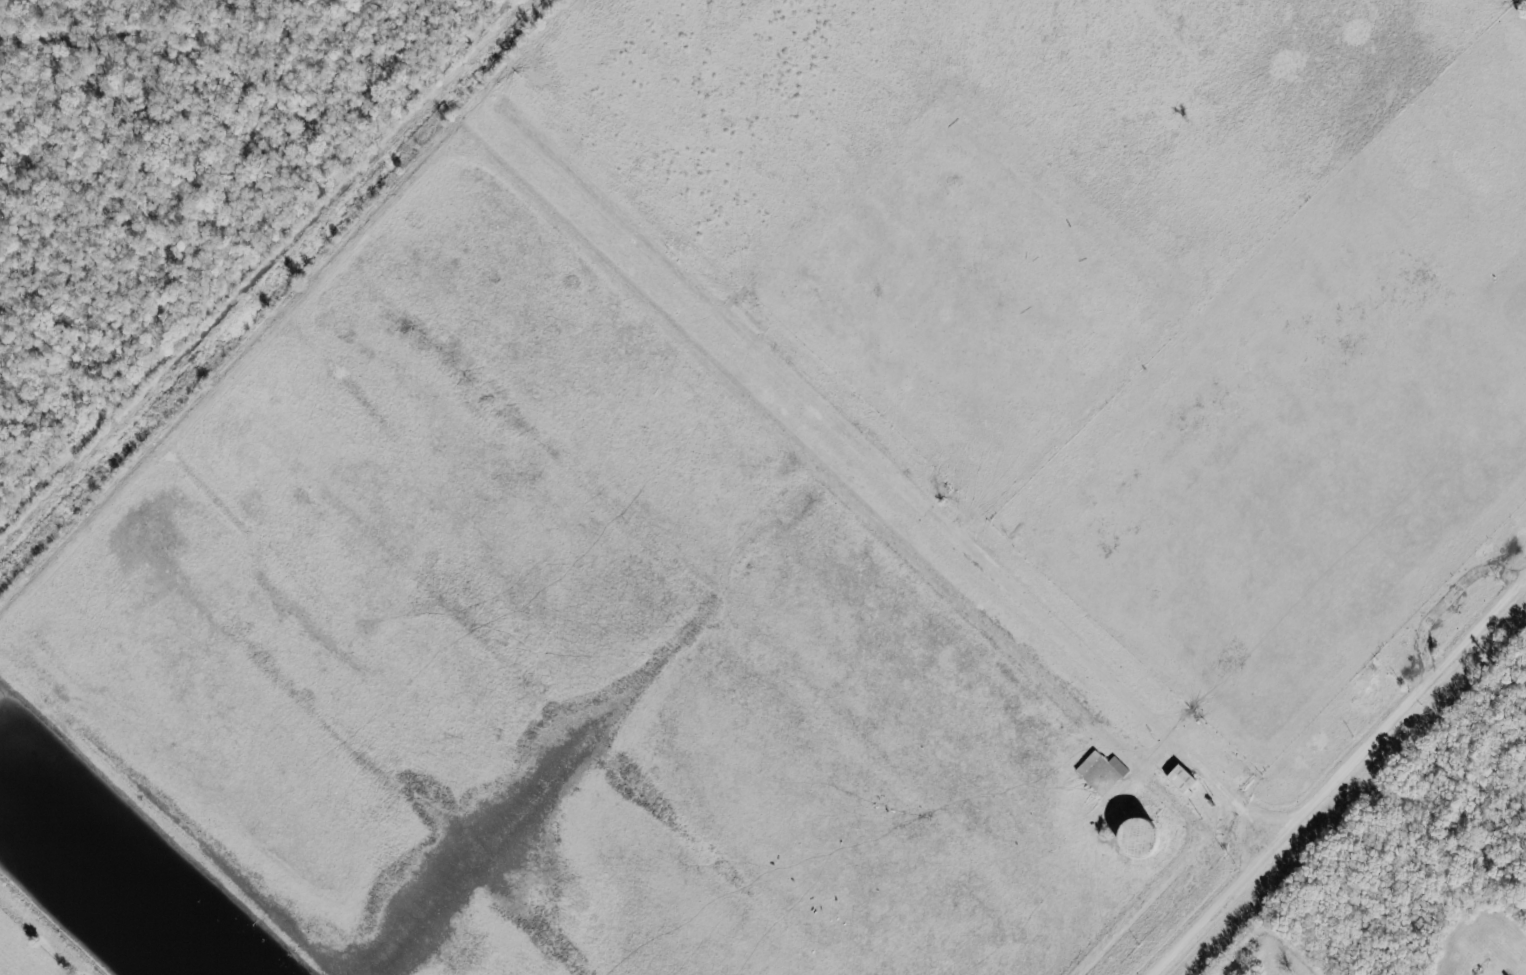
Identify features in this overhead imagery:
road: (898, 480)
building: (1086, 762)
building: (1117, 766)
building: (1100, 776)
building: (1181, 779)
road: (1342, 781)
building: (1137, 837)

